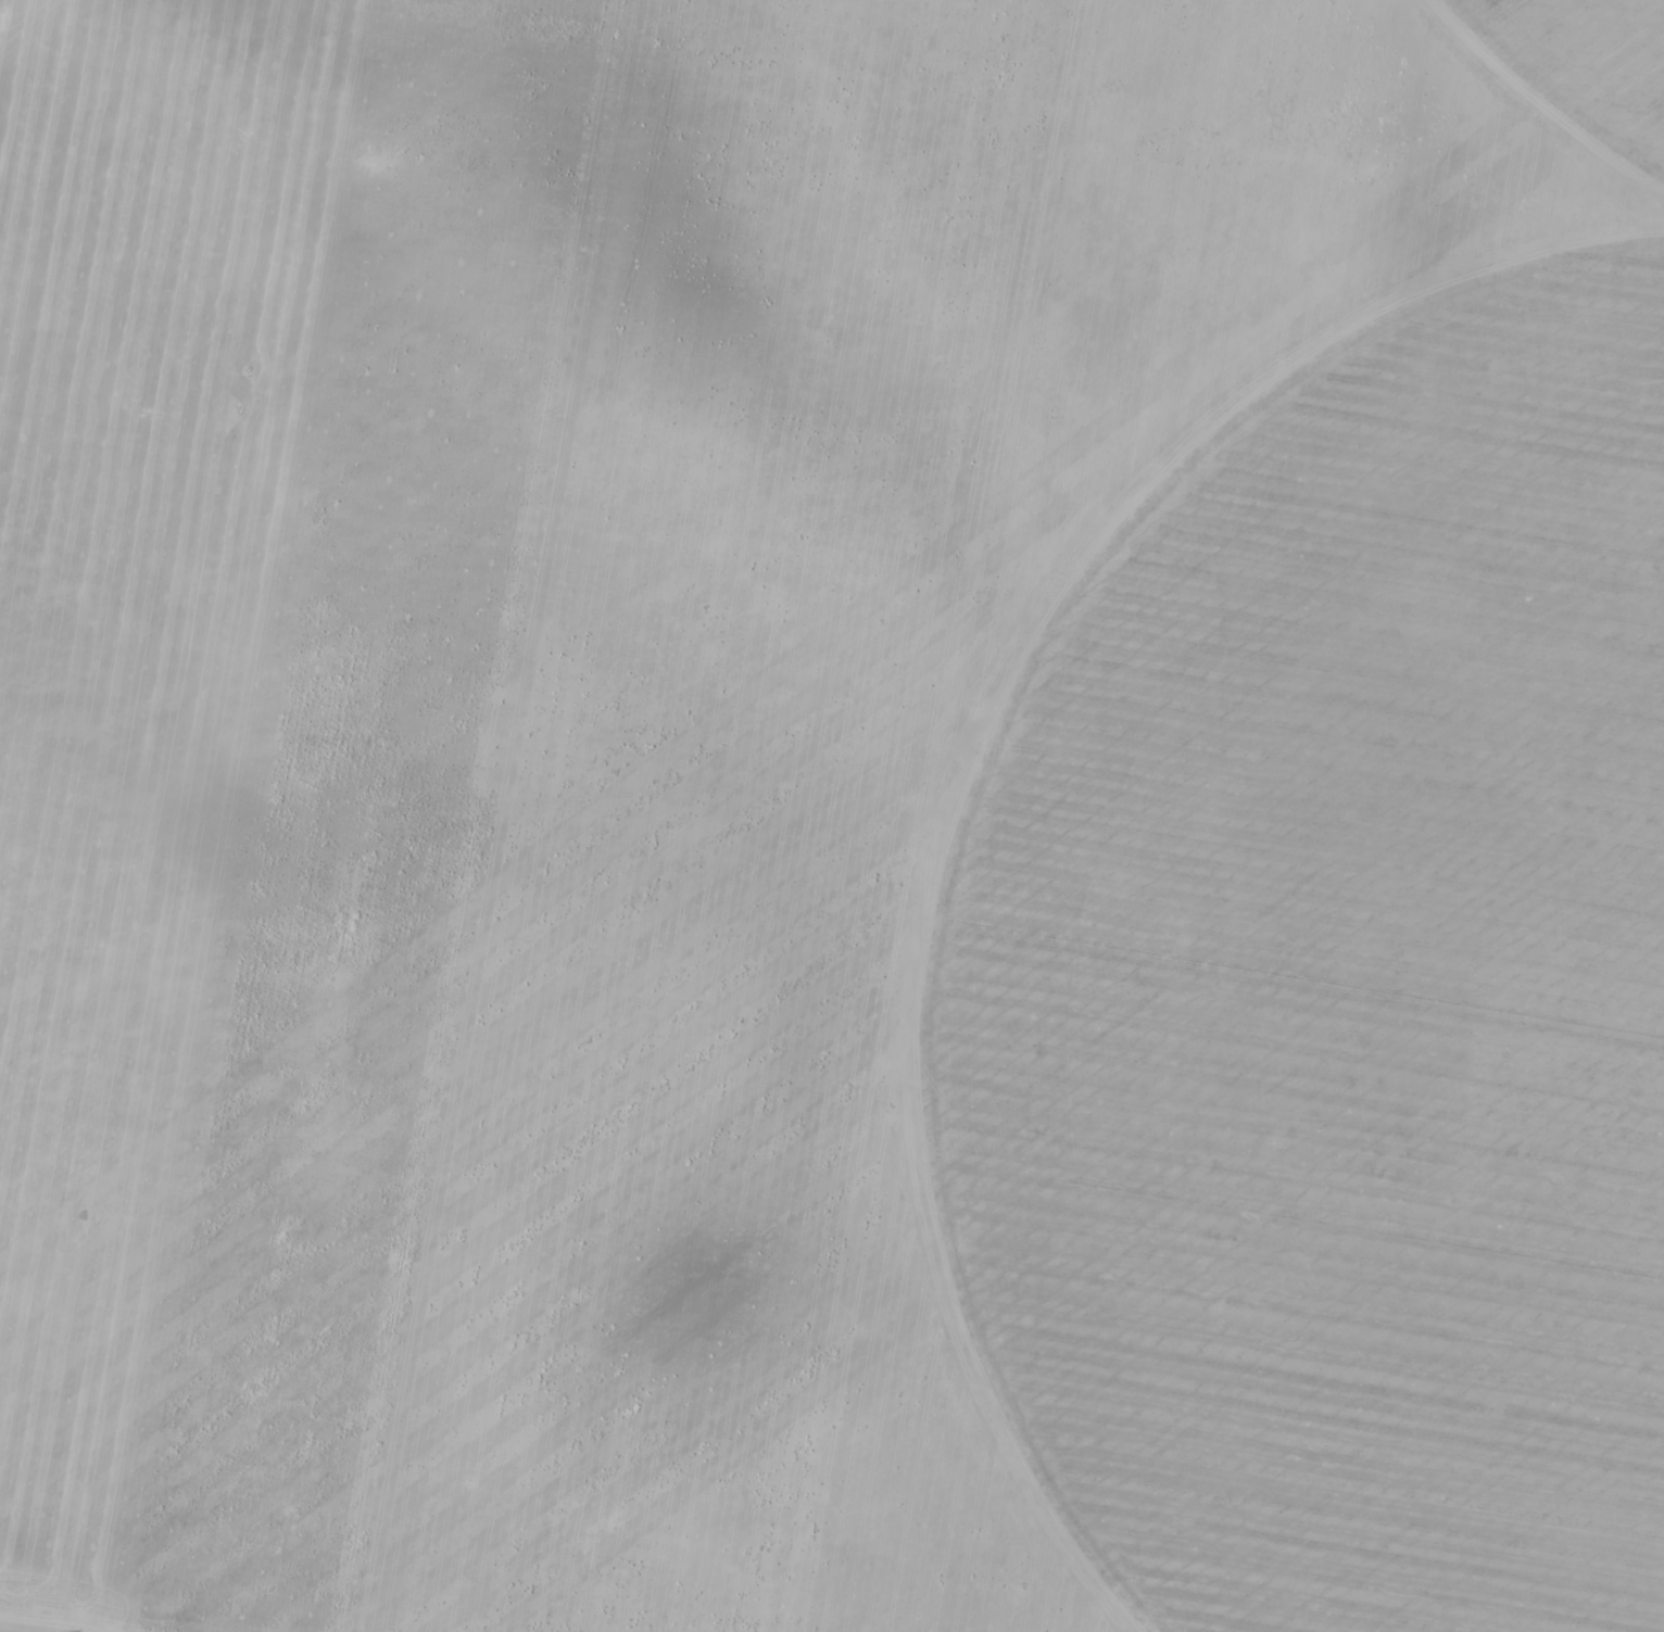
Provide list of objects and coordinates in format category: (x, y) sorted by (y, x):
road: (18, 1629)

